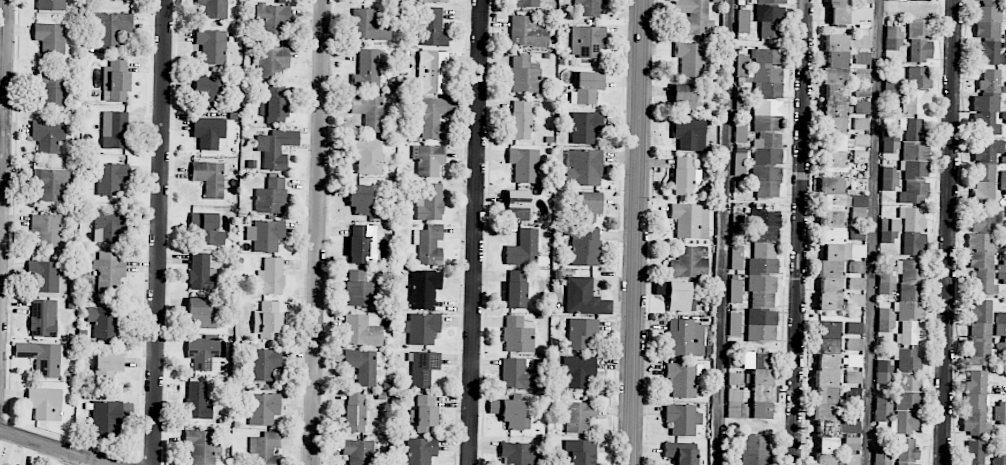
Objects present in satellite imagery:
building: (748, 0)
building: (917, 0)
building: (435, 1)
building: (864, 1)
building: (990, 1)
building: (528, 3)
building: (50, 5)
building: (590, 7)
building: (214, 8)
building: (1005, 11)
building: (838, 12)
building: (864, 13)
building: (694, 17)
building: (274, 18)
building: (770, 18)
building: (743, 21)
building: (369, 25)
building: (111, 27)
building: (432, 27)
building: (919, 28)
building: (528, 32)
building: (50, 38)
building: (893, 38)
building: (587, 41)
building: (1005, 43)
building: (859, 44)
building: (211, 46)
building: (920, 50)
building: (692, 58)
building: (862, 58)
building: (272, 61)
building: (742, 65)
building: (367, 70)
building: (433, 72)
building: (766, 73)
building: (525, 75)
building: (862, 75)
building: (917, 77)
building: (116, 81)
building: (53, 86)
building: (587, 87)
building: (892, 90)
building: (205, 91)
building: (862, 91)
building: (685, 100)
building: (741, 100)
building: (918, 102)
building: (274, 104)
building: (986, 104)
building: (837, 105)
building: (861, 107)
building: (369, 111)
building: (431, 117)
building: (1004, 118)
building: (521, 120)
building: (861, 124)
building: (586, 127)
building: (115, 130)
building: (209, 133)
building: (766, 133)
building: (689, 134)
building: (49, 136)
building: (914, 139)
building: (890, 142)
building: (276, 148)
building: (367, 156)
building: (860, 157)
building: (428, 160)
road: (4, 161)
building: (525, 165)
building: (740, 166)
building: (585, 168)
building: (985, 171)
building: (684, 176)
building: (210, 177)
building: (889, 178)
building: (111, 179)
building: (766, 181)
building: (914, 182)
building: (52, 183)
building: (1003, 183)
building: (271, 196)
building: (360, 199)
building: (430, 202)
building: (518, 204)
building: (589, 206)
building: (858, 210)
building: (912, 218)
building: (691, 220)
building: (737, 224)
building: (109, 225)
building: (207, 229)
building: (46, 230)
building: (986, 230)
building: (888, 231)
road: (160, 232)
road: (314, 232)
road: (477, 232)
road: (638, 232)
road: (723, 232)
road: (800, 232)
road: (874, 232)
road: (949, 232)
building: (266, 235)
building: (914, 243)
building: (362, 244)
building: (429, 244)
building: (830, 244)
building: (585, 246)
building: (523, 249)
building: (849, 252)
building: (763, 258)
building: (690, 262)
building: (857, 267)
building: (109, 271)
building: (1002, 272)
building: (201, 273)
building: (982, 273)
building: (44, 276)
building: (270, 277)
building: (910, 279)
building: (856, 283)
building: (886, 283)
building: (424, 288)
building: (359, 289)
building: (516, 289)
building: (735, 291)
building: (677, 296)
building: (584, 298)
building: (856, 300)
building: (909, 310)
building: (203, 312)
building: (43, 318)
building: (885, 320)
building: (105, 321)
building: (268, 321)
building: (734, 324)
building: (1000, 324)
building: (761, 326)
building: (422, 328)
building: (855, 328)
building: (362, 330)
building: (981, 332)
building: (582, 333)
building: (910, 333)
building: (517, 335)
building: (708, 336)
building: (685, 338)
building: (855, 344)
building: (204, 353)
building: (43, 358)
building: (855, 360)
building: (907, 360)
building: (265, 364)
building: (364, 365)
building: (883, 366)
building: (108, 367)
building: (424, 368)
building: (827, 370)
building: (578, 371)
building: (519, 374)
building: (682, 379)
building: (908, 382)
building: (755, 391)
building: (198, 401)
building: (45, 404)
building: (975, 405)
building: (263, 409)
building: (883, 409)
building: (907, 412)
building: (354, 413)
building: (510, 413)
building: (1000, 413)
building: (579, 416)
building: (106, 417)
building: (424, 419)
building: (683, 419)
building: (849, 426)
building: (826, 442)
building: (852, 443)
building: (201, 447)
road: (51, 448)
building: (265, 448)
building: (420, 451)
building: (358, 452)
building: (579, 452)
building: (907, 452)
building: (517, 453)
building: (682, 453)
building: (973, 453)
building: (755, 457)
building: (882, 457)
building: (999, 459)

